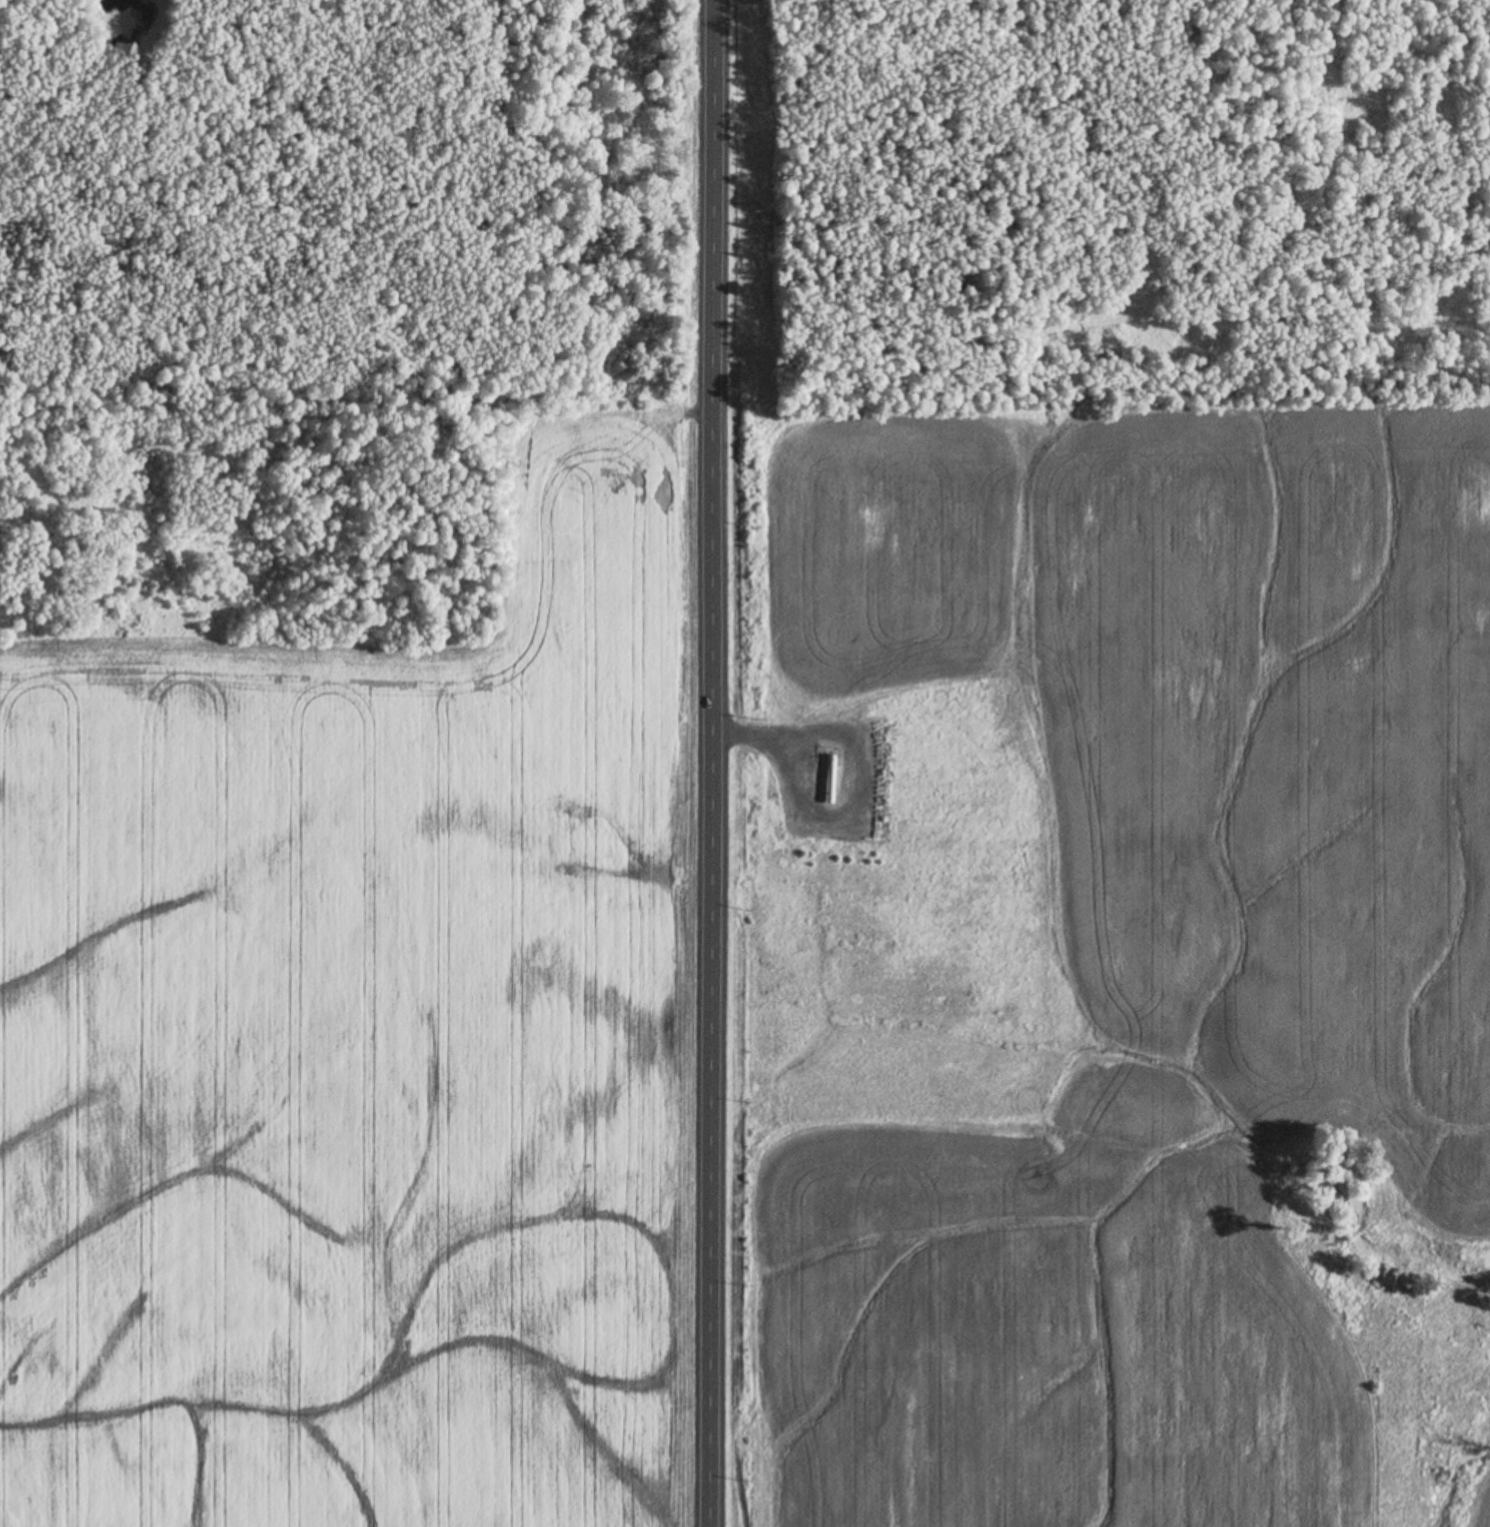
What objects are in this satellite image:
road: (711, 763)

